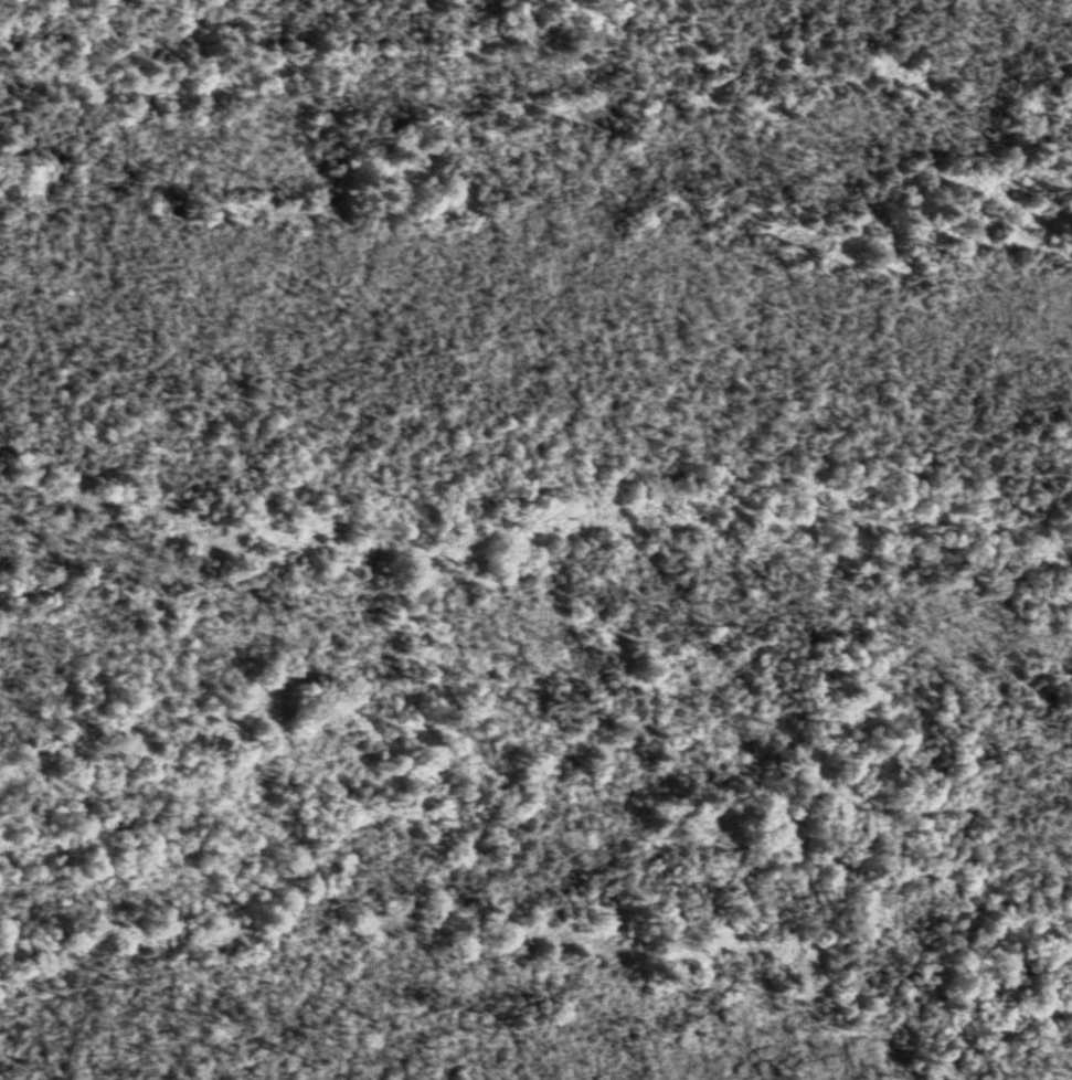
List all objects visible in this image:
road: (266, 65)

